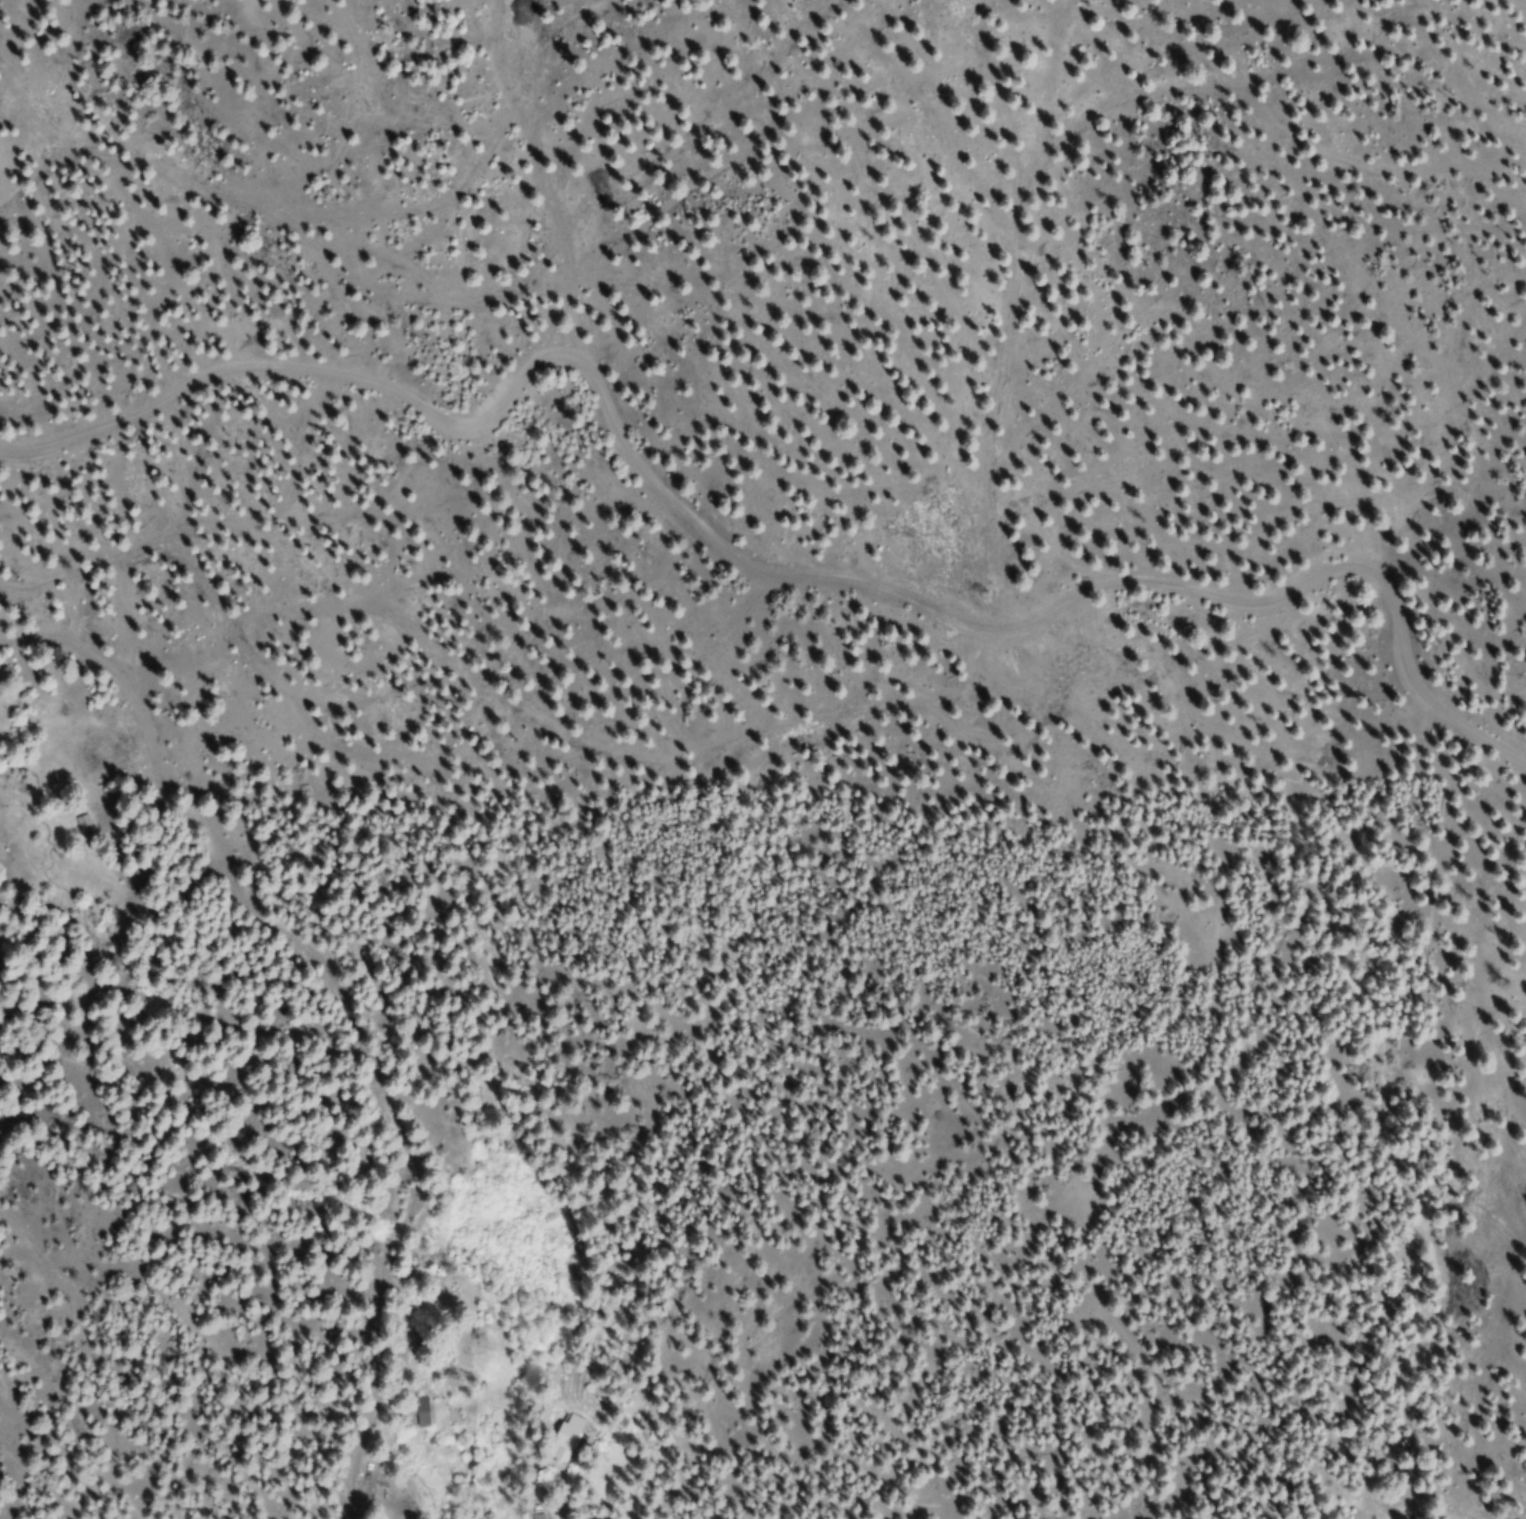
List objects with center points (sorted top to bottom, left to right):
road: (767, 523)
building: (83, 827)
road: (333, 1029)
building: (566, 1438)

